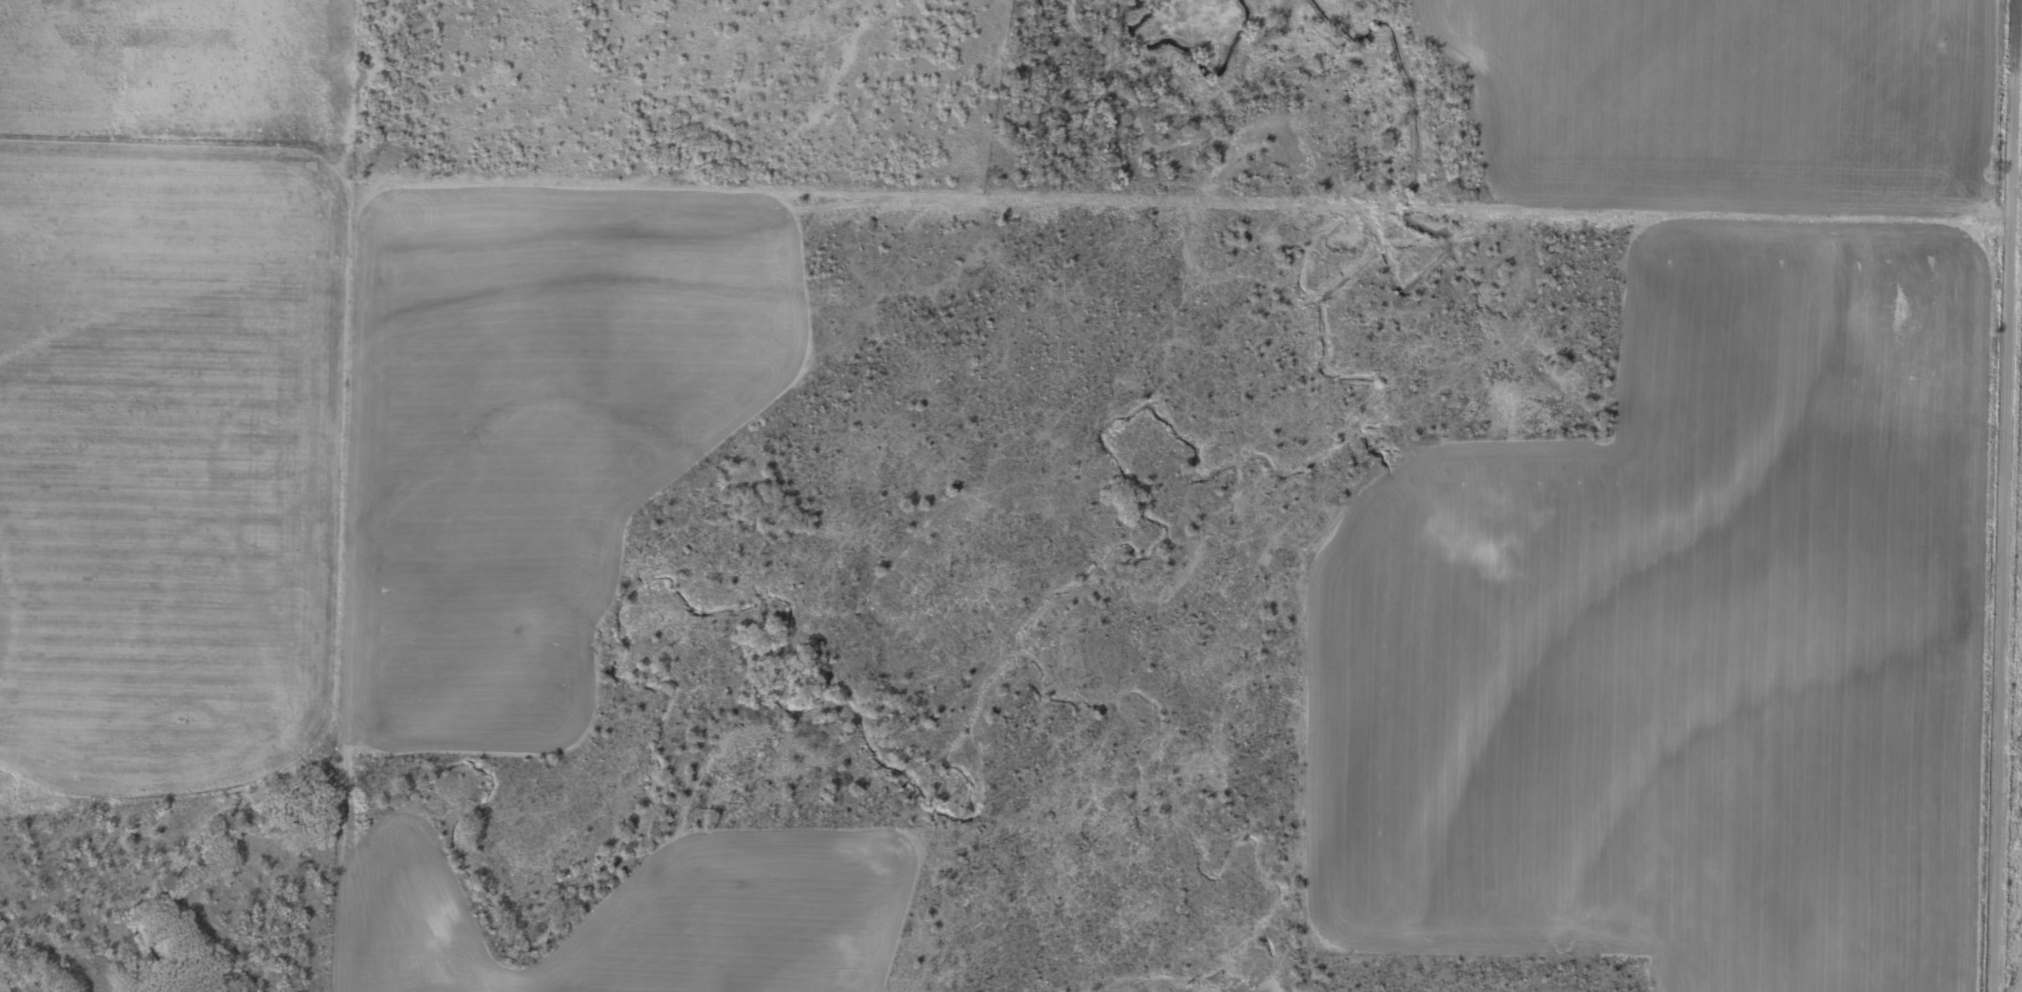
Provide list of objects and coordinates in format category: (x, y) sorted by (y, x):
road: (2005, 496)

